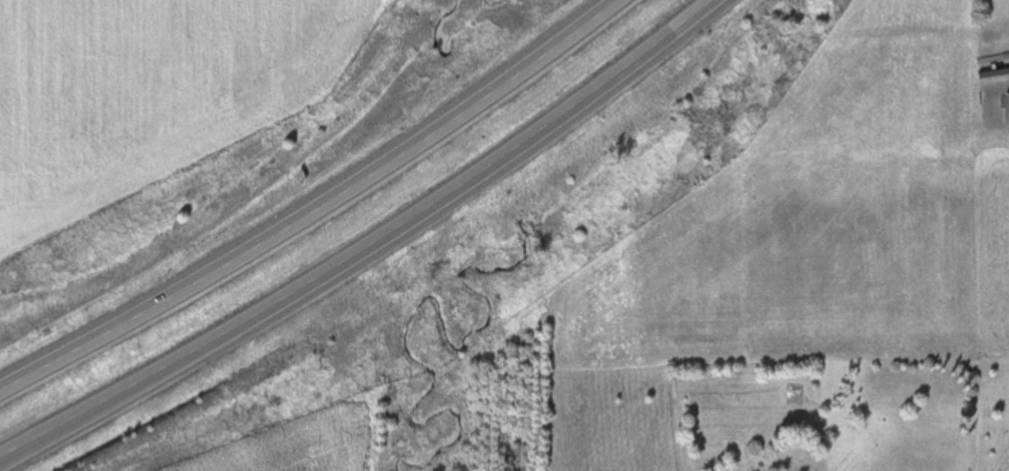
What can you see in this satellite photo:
road: (316, 209)
road: (366, 247)

